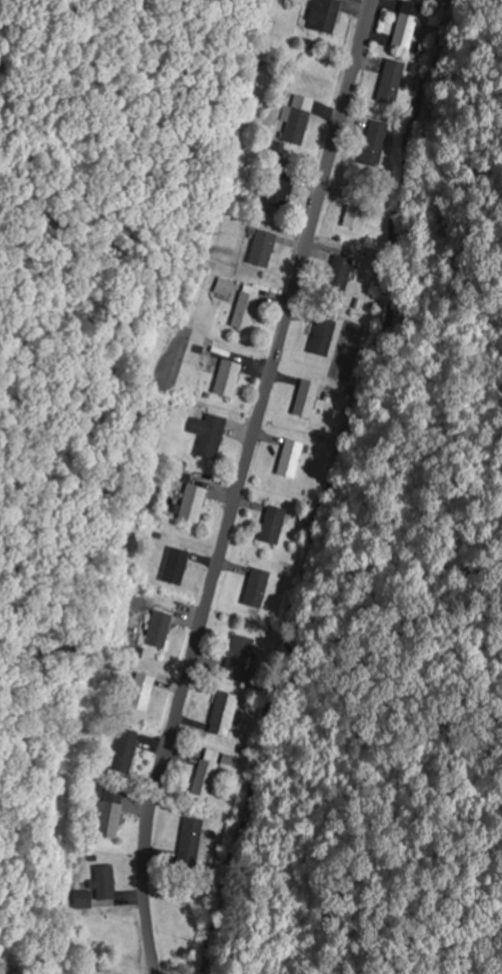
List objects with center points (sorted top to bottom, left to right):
building: (324, 15)
building: (406, 25)
building: (391, 80)
building: (297, 125)
building: (374, 142)
building: (279, 188)
building: (356, 213)
building: (263, 247)
building: (340, 273)
building: (247, 306)
building: (322, 335)
building: (227, 377)
building: (305, 397)
building: (209, 434)
building: (290, 457)
road: (239, 484)
building: (192, 502)
building: (272, 524)
building: (175, 565)
building: (257, 587)
building: (159, 628)
building: (239, 651)
building: (142, 691)
building: (224, 713)
building: (126, 750)
building: (204, 777)
building: (110, 814)
building: (189, 841)
building: (104, 881)
building: (82, 898)

